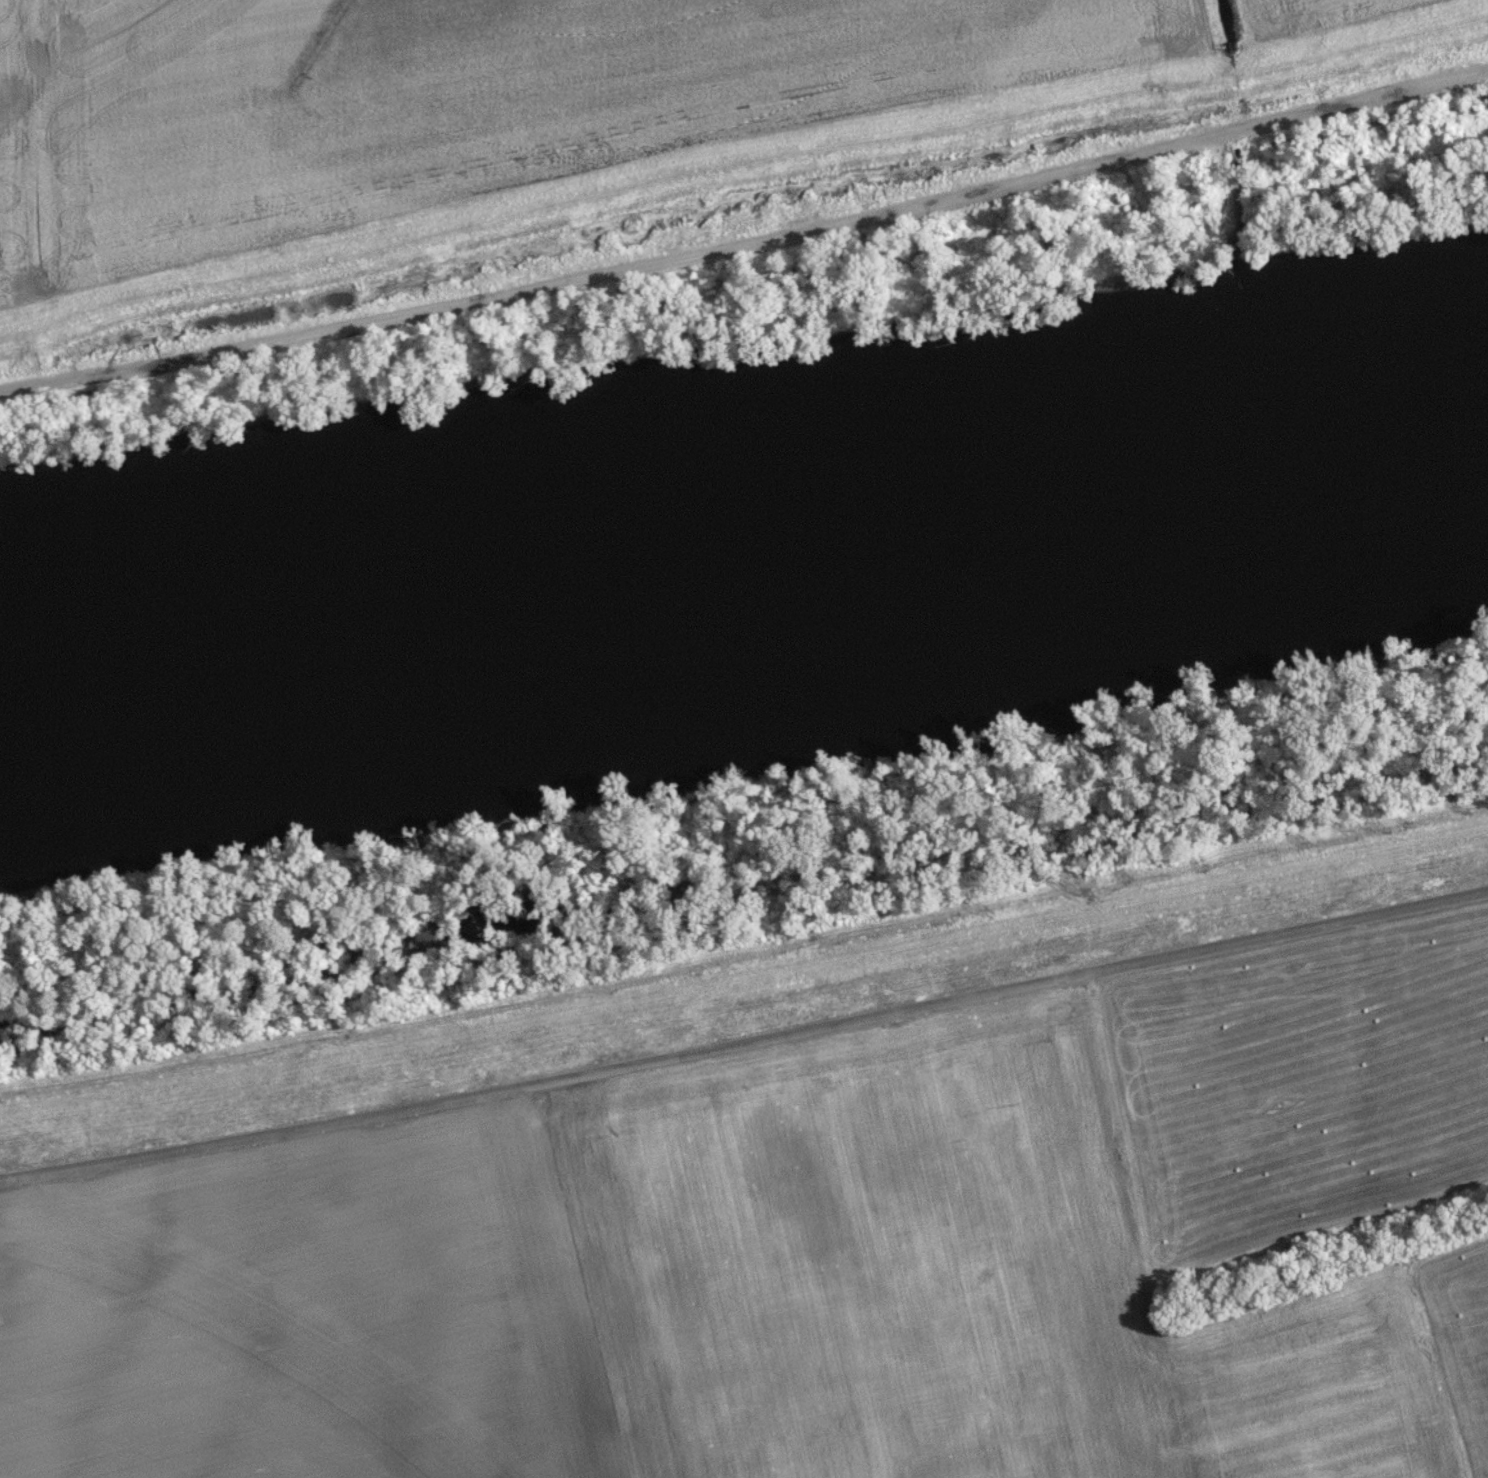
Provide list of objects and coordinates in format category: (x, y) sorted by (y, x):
road: (1204, 30)
road: (747, 249)
river: (749, 571)
road: (745, 1046)
road: (1347, 1241)

